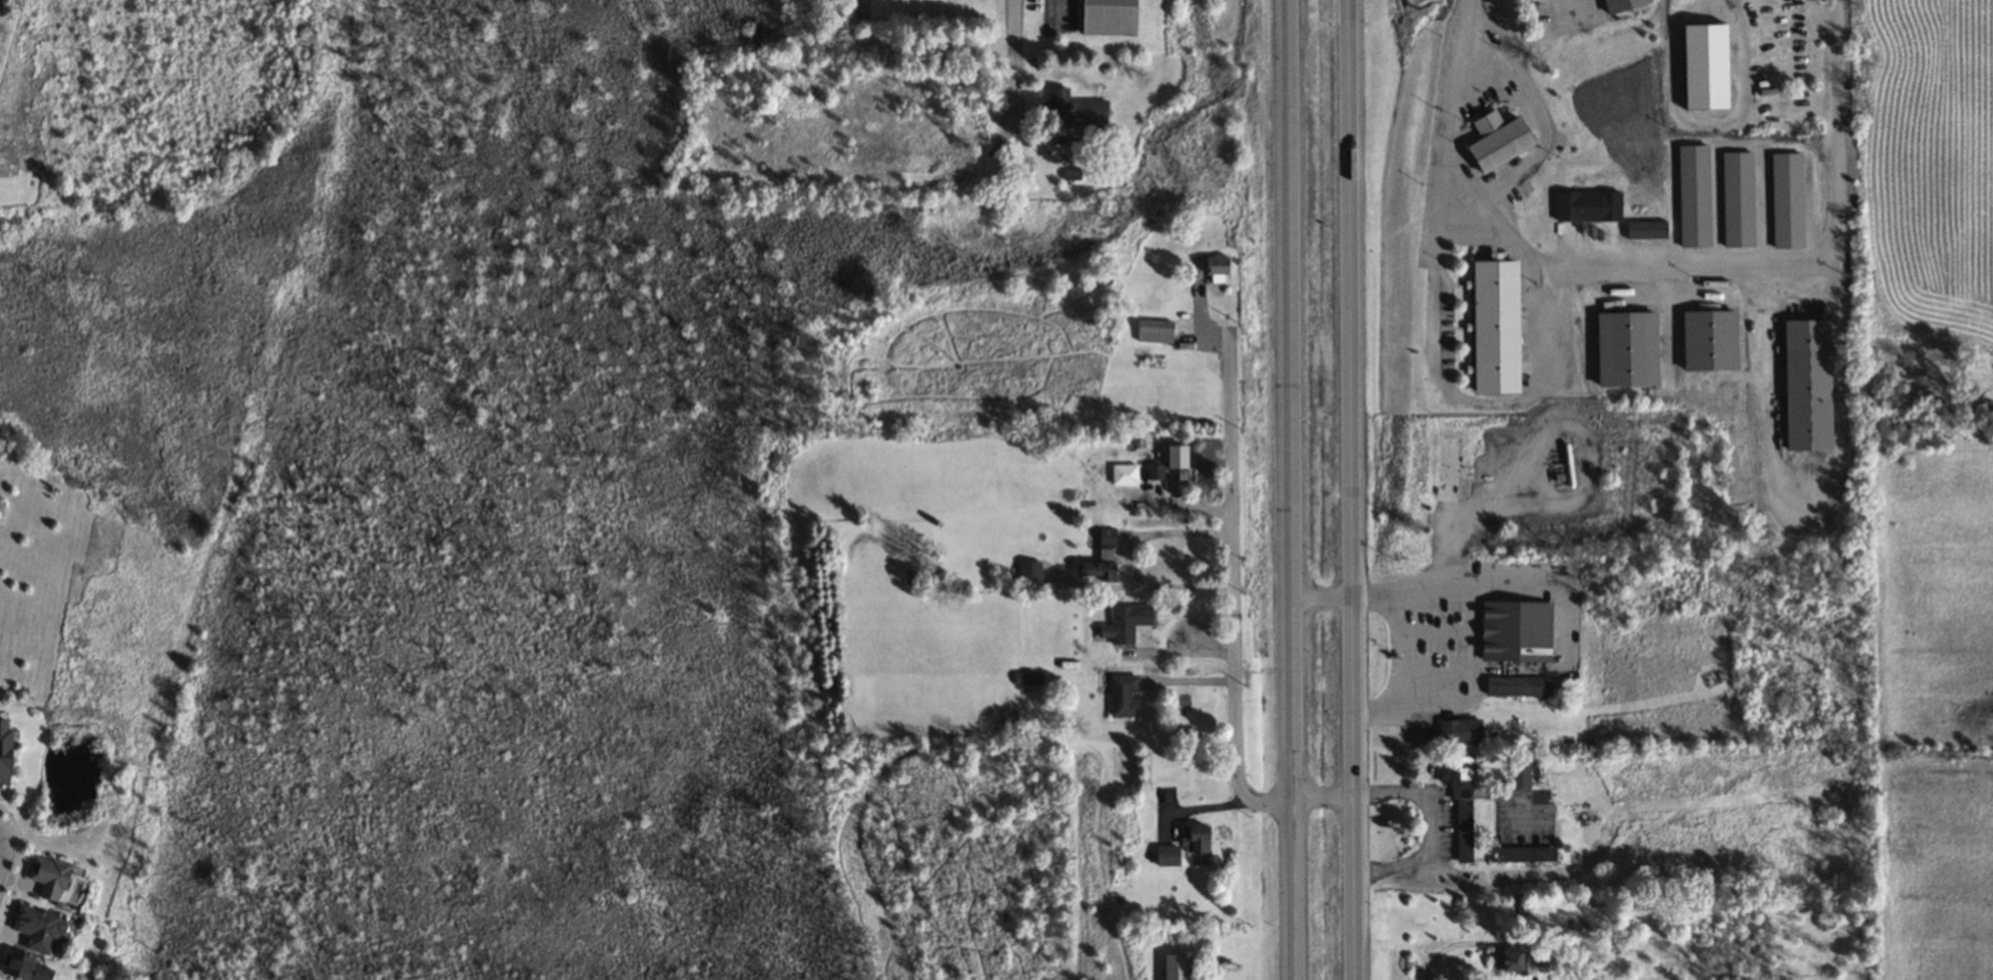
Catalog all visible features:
building: (1619, 4)
road: (1347, 10)
building: (1107, 16)
road: (1012, 62)
building: (1704, 65)
building: (1073, 107)
building: (1496, 140)
building: (1693, 195)
building: (1737, 198)
building: (1786, 200)
building: (1589, 205)
building: (1645, 228)
building: (1214, 266)
road: (1665, 271)
building: (1494, 324)
building: (1153, 330)
building: (1708, 339)
building: (1625, 348)
building: (1805, 384)
building: (1175, 462)
building: (1449, 465)
building: (1153, 472)
building: (1123, 473)
road: (1293, 489)
road: (1351, 489)
road: (1488, 498)
road: (1126, 559)
building: (1095, 570)
building: (1028, 573)
road: (1322, 597)
road: (1234, 615)
building: (1123, 623)
building: (1514, 631)
road: (1473, 640)
building: (1027, 678)
building: (1516, 686)
building: (1121, 694)
building: (1458, 730)
building: (4, 753)
building: (1519, 773)
building: (1458, 802)
park: (202, 831)
building: (1195, 838)
road: (1, 840)
building: (1521, 854)
building: (1165, 855)
building: (48, 876)
building: (37, 928)
building: (1540, 958)
building: (1509, 960)
building: (21, 967)

